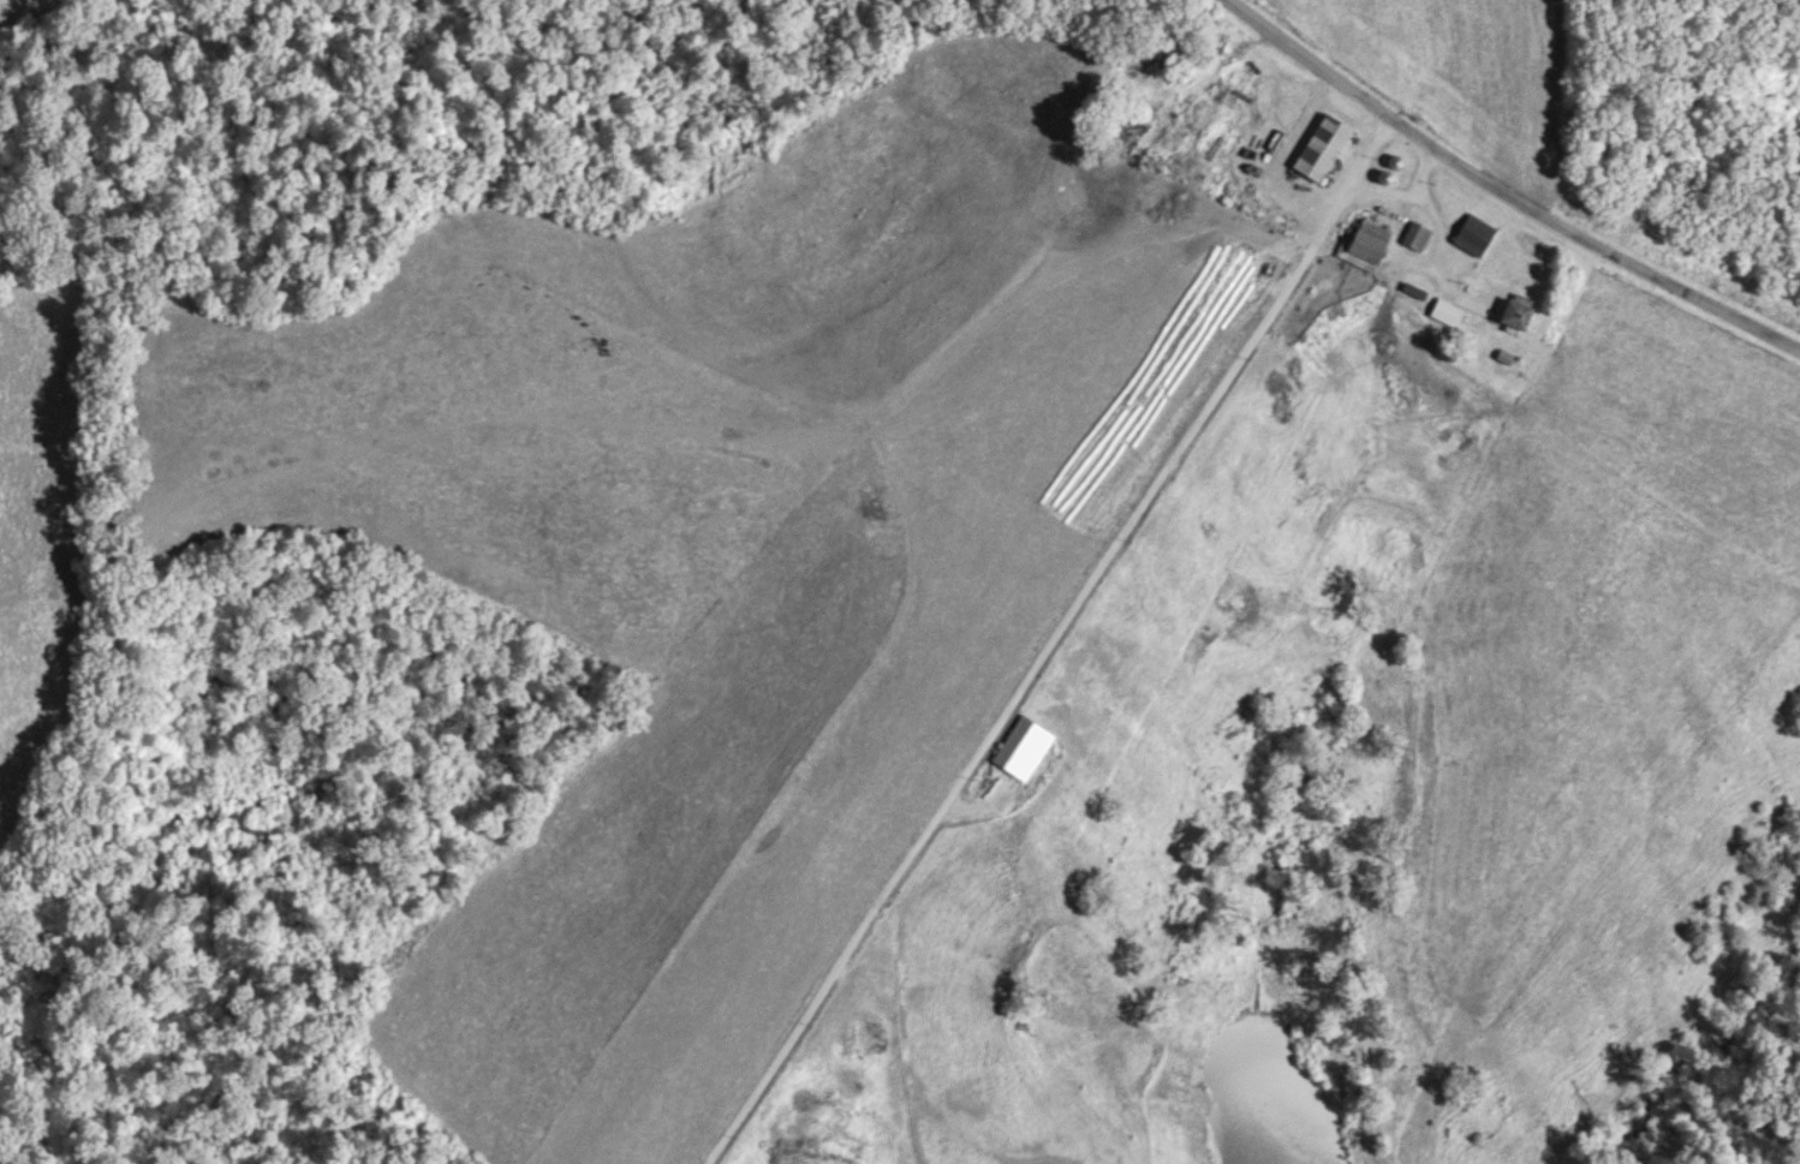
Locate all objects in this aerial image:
building: (1319, 149)
road: (1366, 154)
road: (1501, 193)
road: (1431, 211)
building: (1471, 235)
building: (1415, 237)
building: (1360, 244)
building: (1444, 311)
building: (1513, 311)
road: (1024, 677)
building: (1020, 748)

